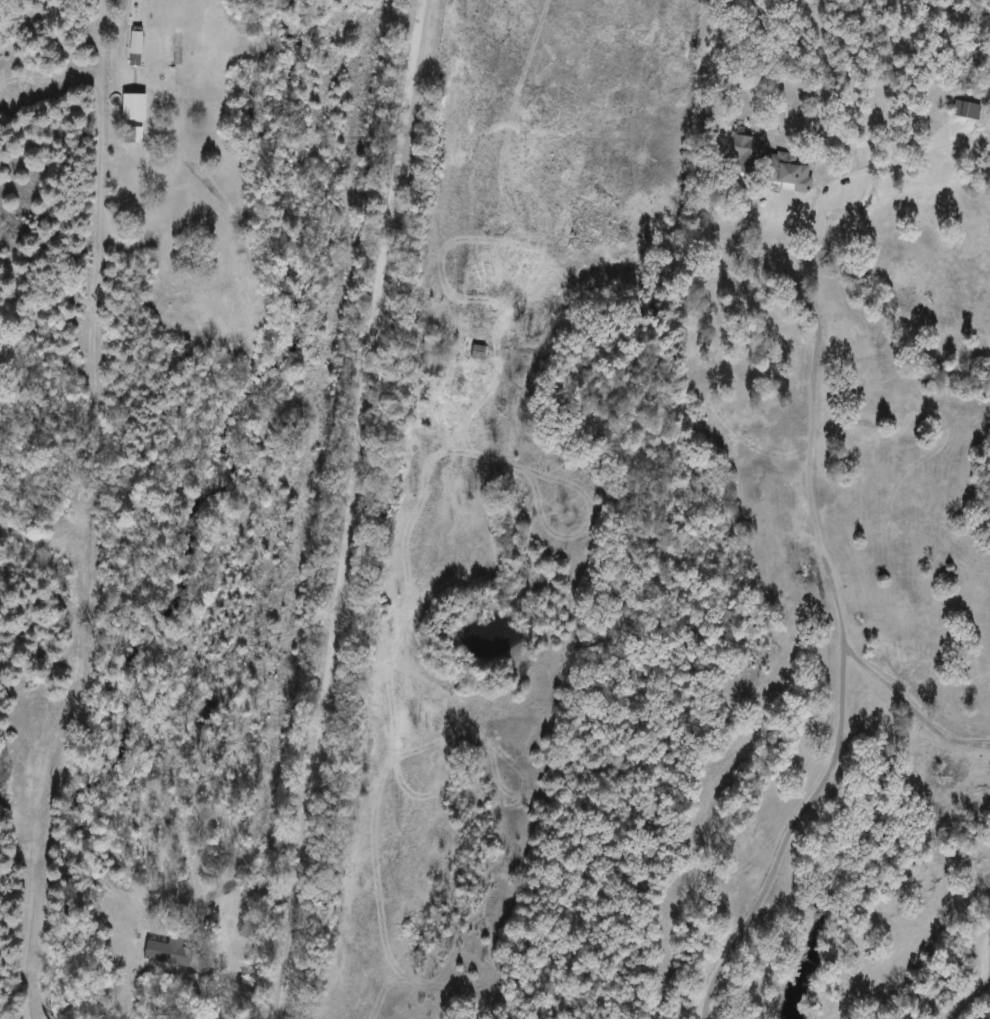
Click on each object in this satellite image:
building: (139, 42)
building: (138, 107)
building: (964, 112)
building: (136, 135)
building: (765, 164)
road: (714, 210)
road: (194, 266)
building: (476, 352)
road: (348, 509)
road: (249, 891)
building: (169, 953)

